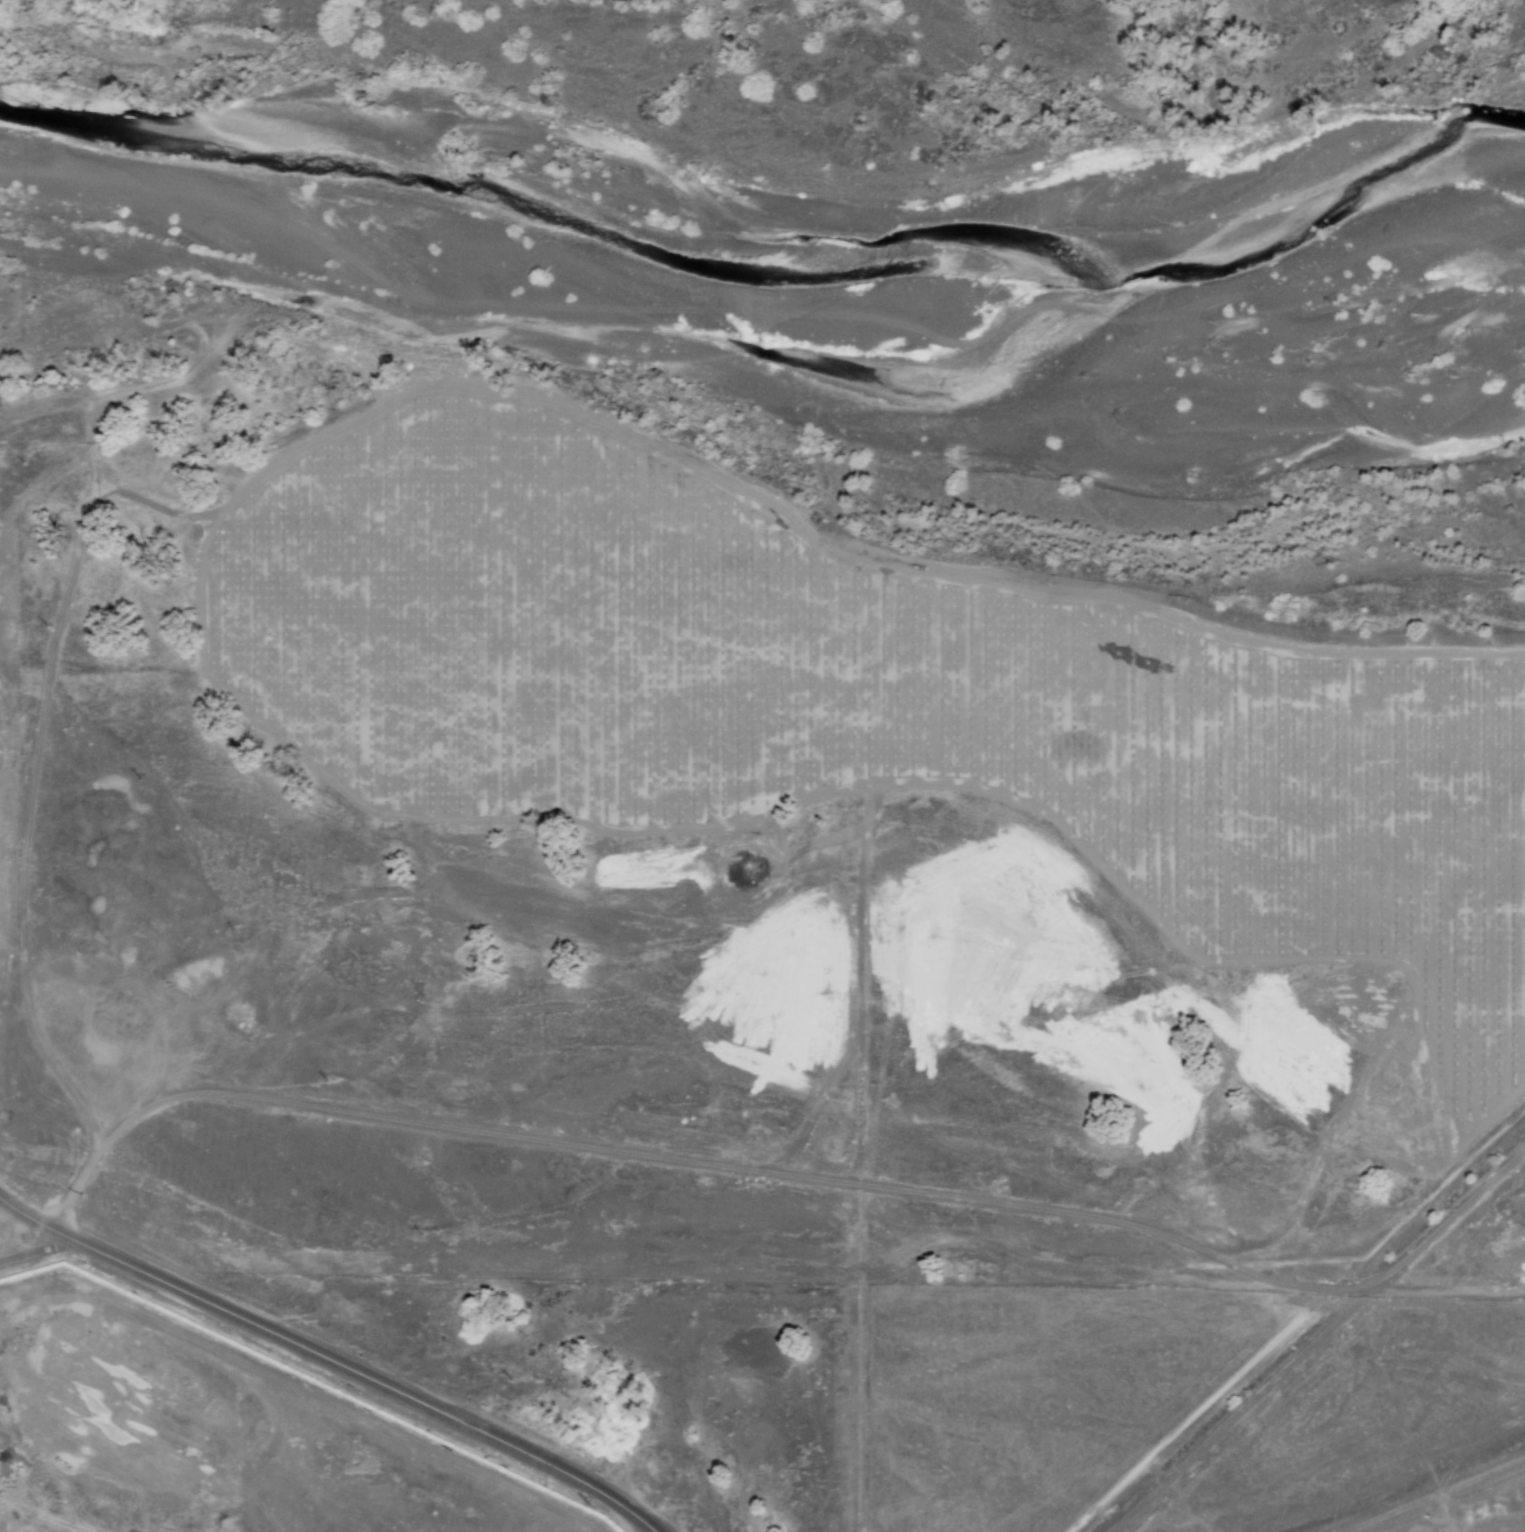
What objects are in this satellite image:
river: (767, 270)
road: (27, 1247)
road: (330, 1360)

